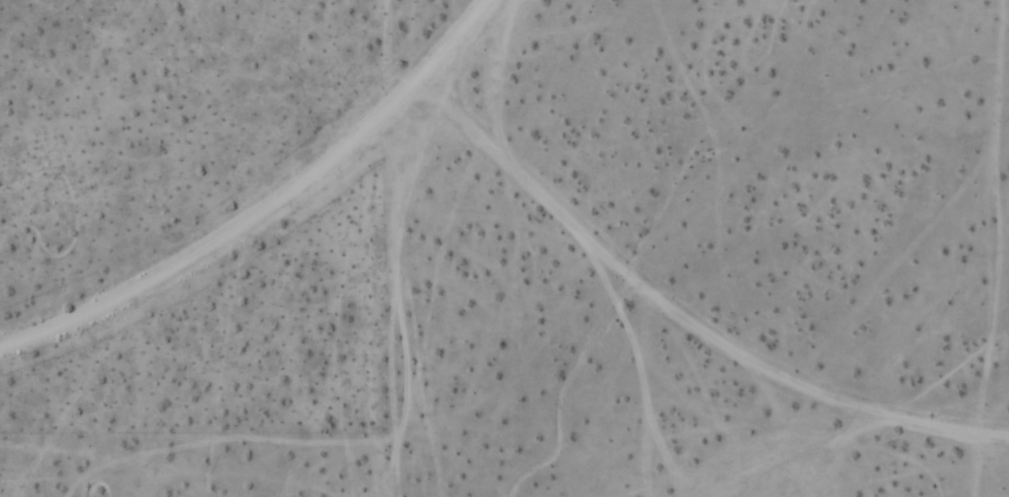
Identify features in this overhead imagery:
road: (272, 209)
park: (141, 248)
crop: (504, 248)
road: (682, 313)
road: (980, 466)

